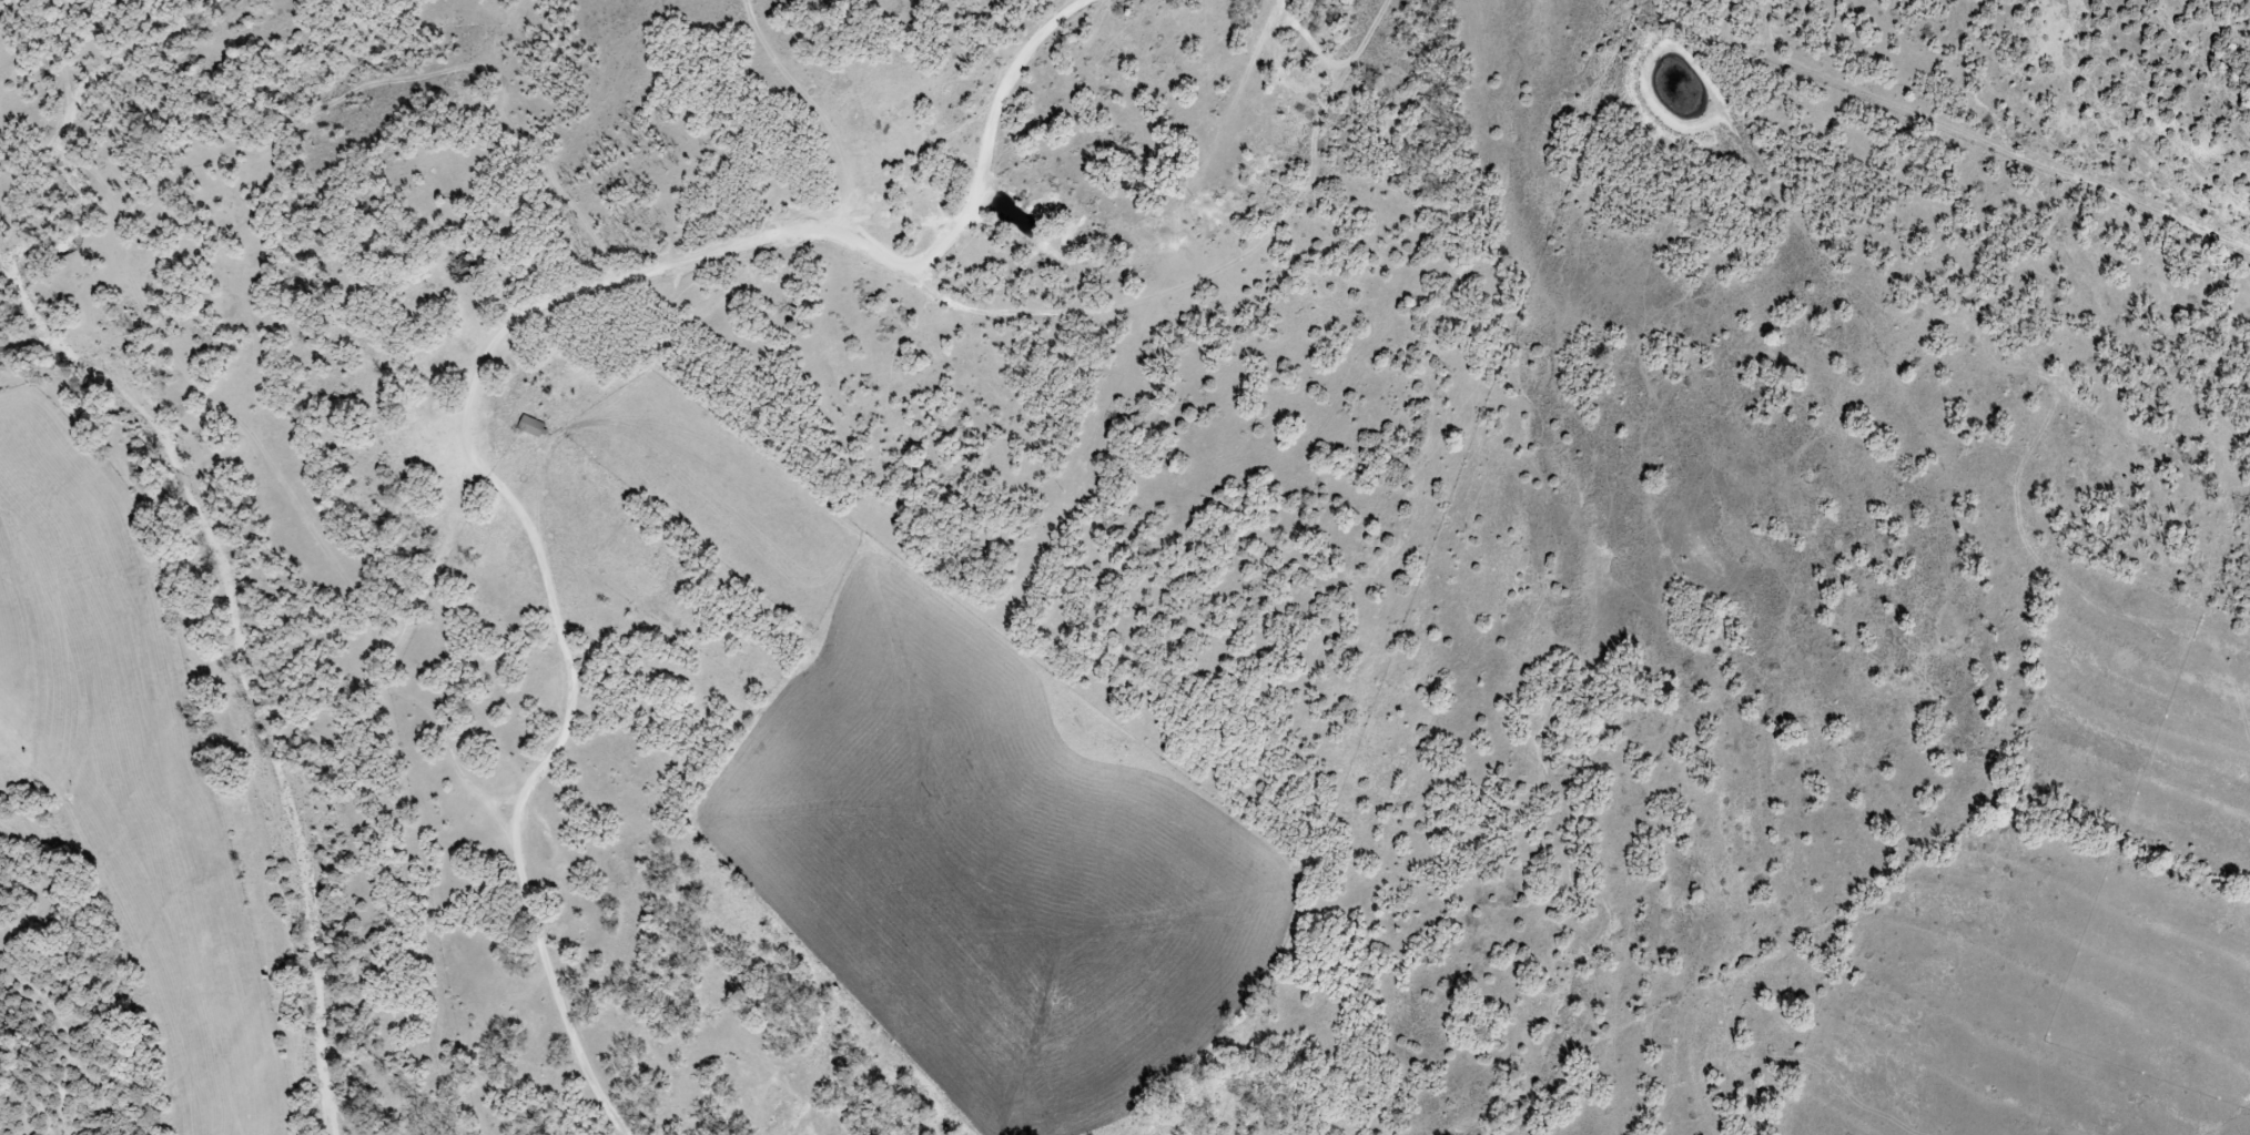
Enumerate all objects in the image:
road: (474, 375)
building: (529, 427)

